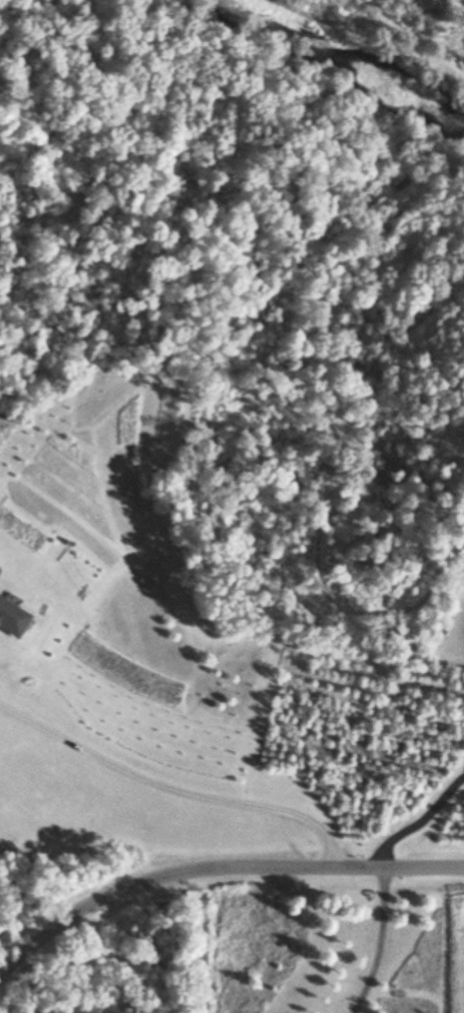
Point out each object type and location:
road: (410, 38)
road: (372, 55)
road: (262, 265)
road: (198, 514)
building: (9, 619)
road: (173, 791)
road: (216, 868)
road: (380, 879)

